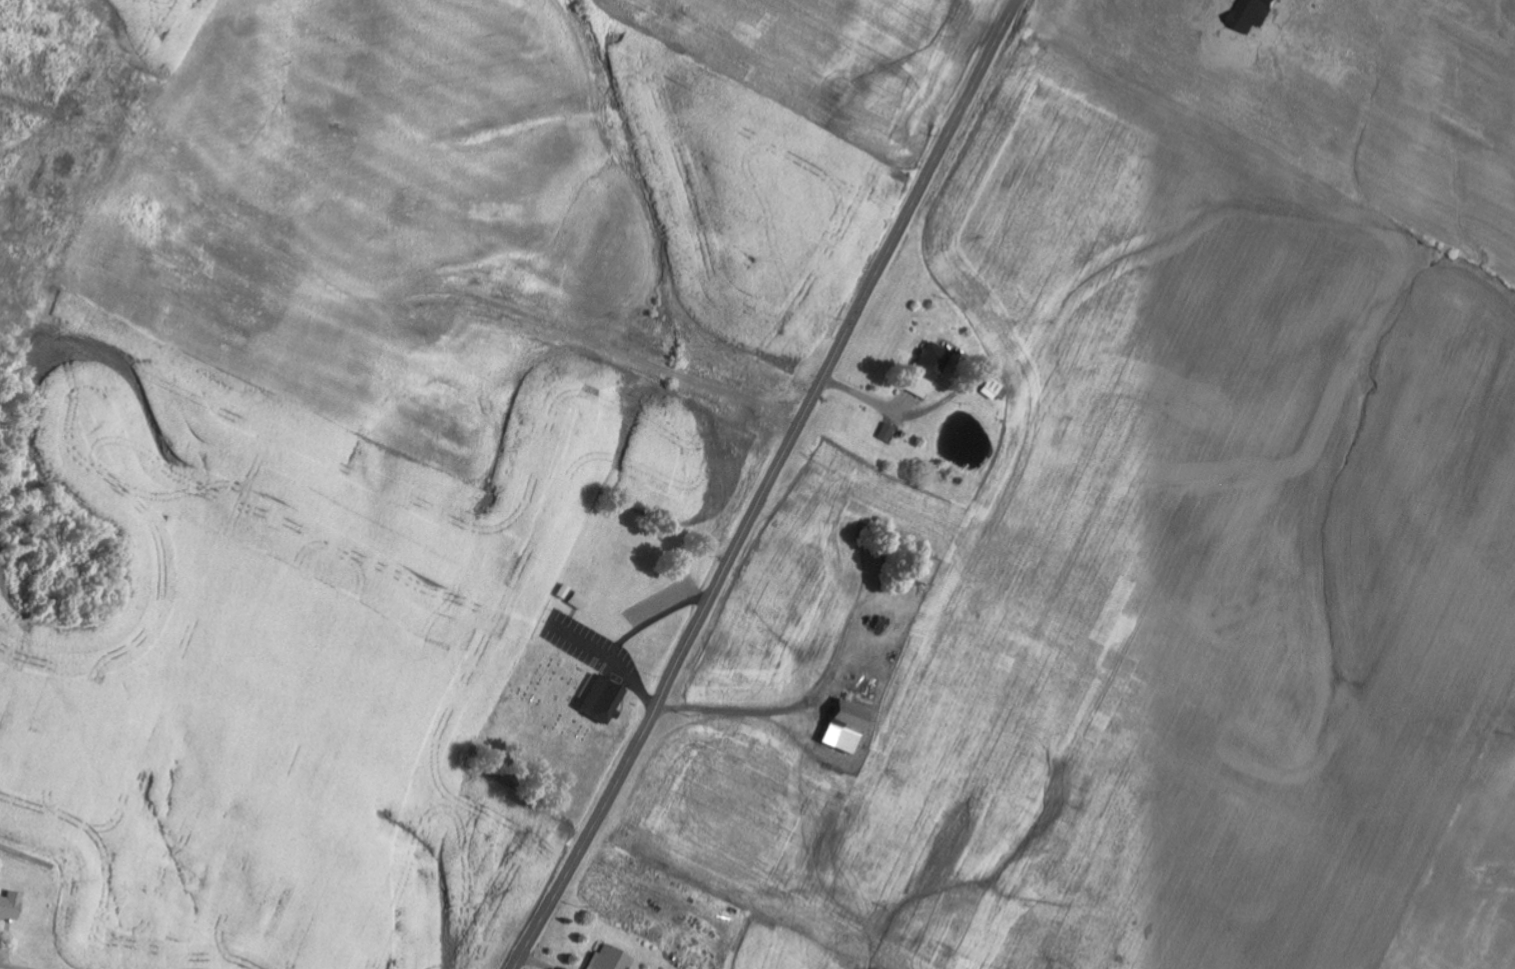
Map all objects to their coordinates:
building: (926, 370)
building: (889, 433)
road: (769, 485)
building: (576, 600)
building: (881, 624)
building: (596, 699)
park: (547, 711)
building: (840, 726)
building: (7, 905)
building: (607, 959)

